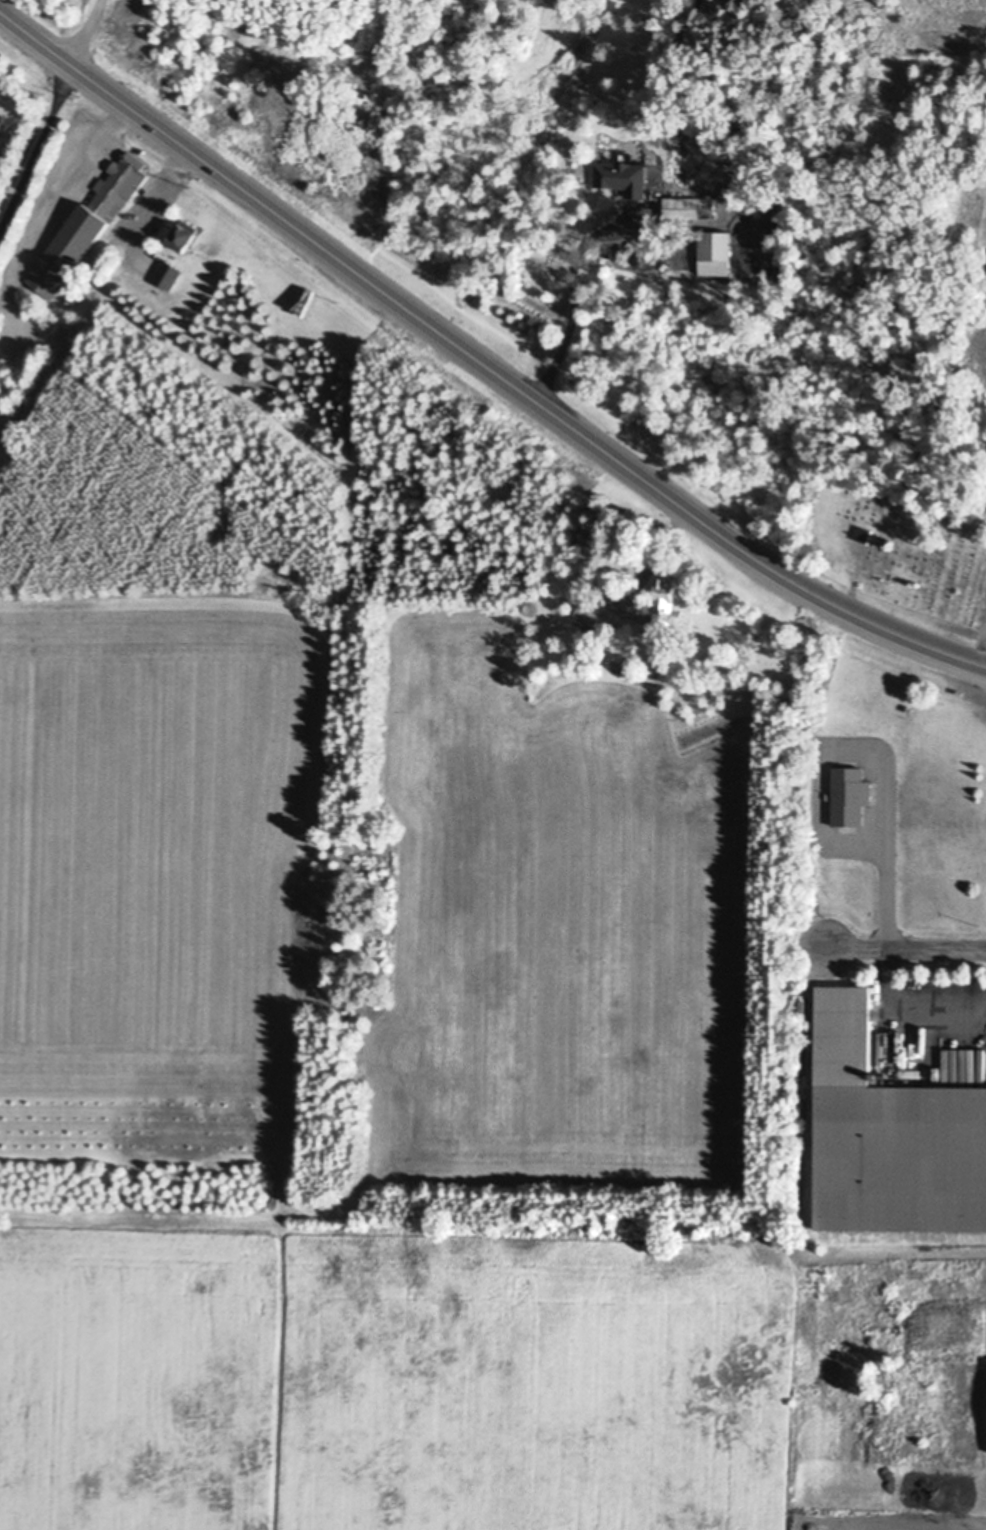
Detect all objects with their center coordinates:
road: (83, 30)
road: (36, 148)
building: (621, 179)
building: (750, 208)
building: (681, 209)
building: (86, 226)
road: (300, 230)
building: (182, 239)
building: (714, 248)
building: (166, 276)
road: (575, 296)
building: (865, 530)
park: (896, 554)
road: (783, 575)
building: (665, 596)
building: (598, 606)
building: (849, 790)
road: (886, 887)
road: (905, 949)
road: (904, 1010)
building: (890, 1129)

